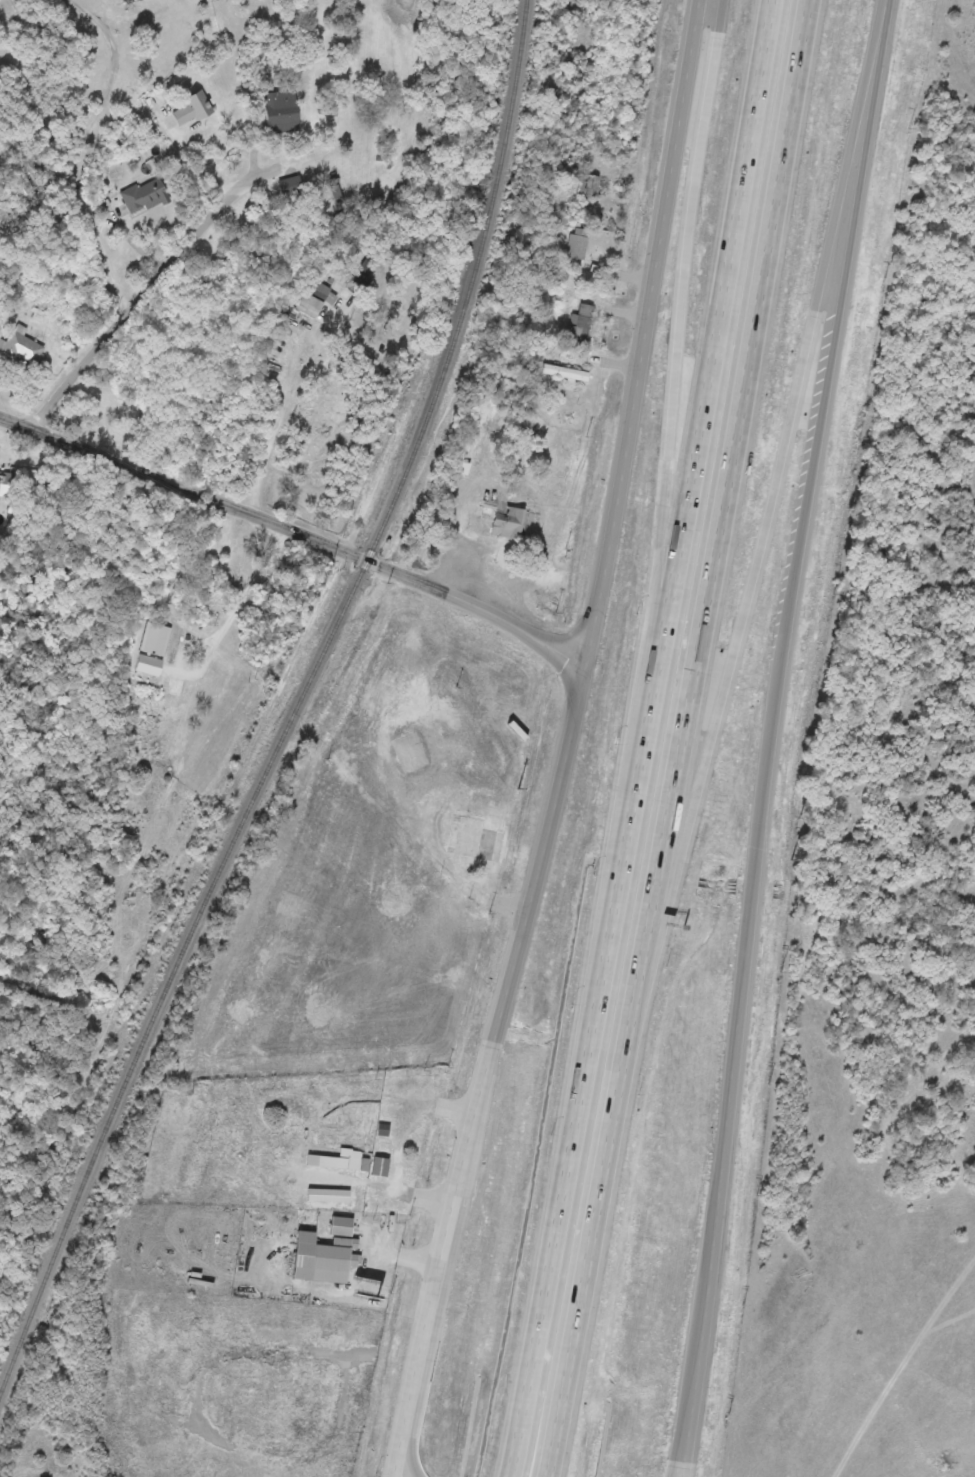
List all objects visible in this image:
building: (192, 107)
building: (281, 109)
building: (24, 184)
building: (589, 185)
building: (142, 195)
building: (5, 224)
building: (580, 243)
road: (148, 280)
building: (314, 297)
building: (580, 322)
building: (23, 345)
road: (677, 403)
road: (280, 420)
road: (17, 422)
building: (464, 467)
building: (5, 479)
building: (451, 509)
building: (504, 517)
road: (314, 539)
road: (282, 557)
building: (230, 568)
road: (708, 599)
road: (754, 601)
road: (279, 619)
railway: (298, 710)
building: (399, 717)
road: (769, 735)
road: (651, 738)
road: (568, 743)
building: (476, 838)
building: (344, 1135)
building: (345, 1159)
building: (419, 1168)
building: (324, 1256)
road: (579, 1338)
road: (407, 1444)

